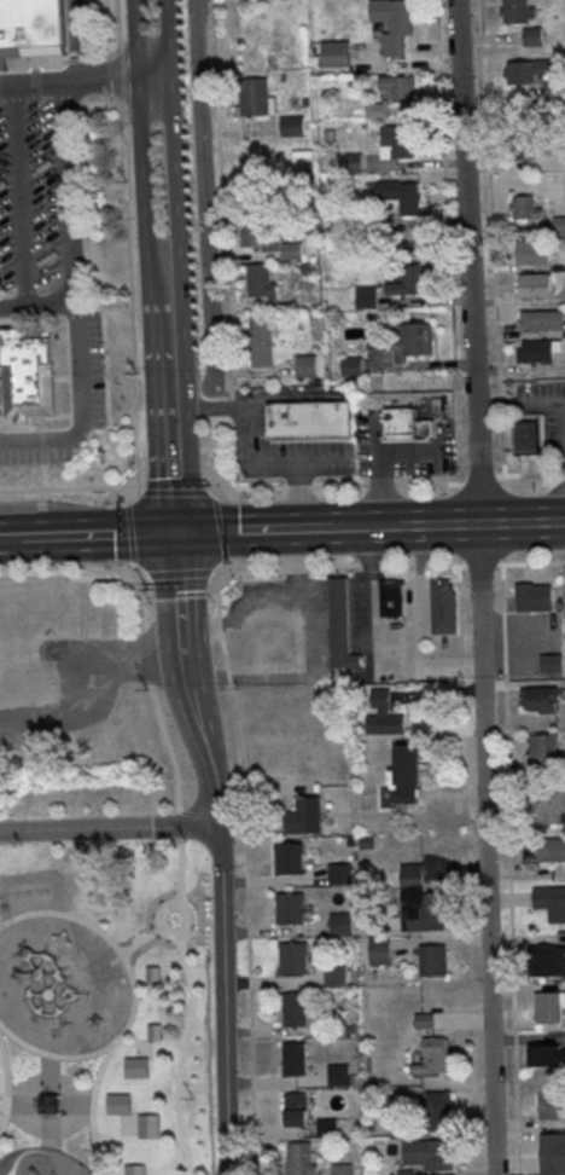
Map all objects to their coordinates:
building: (518, 12)
building: (395, 24)
building: (33, 29)
building: (534, 39)
road: (82, 40)
building: (338, 56)
building: (528, 73)
road: (86, 79)
building: (401, 89)
building: (554, 92)
building: (256, 98)
building: (379, 111)
building: (293, 128)
road: (139, 131)
road: (175, 131)
building: (401, 141)
building: (522, 147)
road: (204, 192)
road: (23, 195)
building: (403, 196)
building: (526, 209)
building: (377, 224)
building: (560, 227)
road: (71, 230)
building: (269, 238)
building: (534, 254)
building: (262, 283)
building: (412, 283)
building: (536, 288)
building: (367, 297)
building: (543, 323)
building: (418, 340)
building: (262, 345)
building: (537, 354)
building: (308, 367)
building: (353, 367)
building: (28, 372)
road: (168, 395)
road: (205, 407)
road: (520, 410)
road: (80, 411)
building: (309, 418)
building: (406, 423)
building: (526, 435)
road: (267, 464)
road: (282, 488)
road: (299, 497)
road: (522, 523)
road: (326, 529)
traffic signals: (174, 534)
road: (86, 537)
road: (531, 565)
road: (478, 566)
road: (334, 569)
road: (179, 574)
road: (72, 577)
road: (482, 586)
building: (534, 596)
building: (392, 598)
building: (444, 606)
building: (340, 625)
building: (268, 637)
road: (397, 647)
building: (22, 655)
building: (552, 662)
road: (186, 681)
building: (540, 699)
building: (384, 714)
road: (165, 740)
building: (106, 746)
building: (543, 751)
building: (408, 764)
building: (403, 793)
building: (551, 804)
building: (305, 816)
road: (107, 828)
building: (552, 850)
building: (290, 858)
road: (511, 870)
road: (246, 873)
building: (339, 874)
building: (420, 902)
building: (552, 902)
road: (165, 908)
building: (291, 909)
building: (342, 924)
road: (142, 940)
building: (380, 950)
building: (293, 957)
building: (435, 960)
building: (547, 961)
building: (155, 976)
building: (336, 976)
road: (134, 992)
road: (223, 1000)
building: (549, 1007)
park: (104, 1008)
building: (295, 1009)
building: (425, 1020)
building: (156, 1034)
road: (182, 1054)
building: (436, 1054)
building: (547, 1054)
building: (295, 1059)
building: (138, 1069)
building: (339, 1075)
road: (7, 1086)
road: (5, 1105)
building: (120, 1105)
building: (553, 1106)
building: (297, 1109)
road: (94, 1110)
building: (439, 1111)
building: (151, 1127)
building: (327, 1128)
building: (553, 1153)
building: (429, 1156)
building: (301, 1158)
building: (343, 1169)
building: (135, 1170)
building: (406, 1173)

